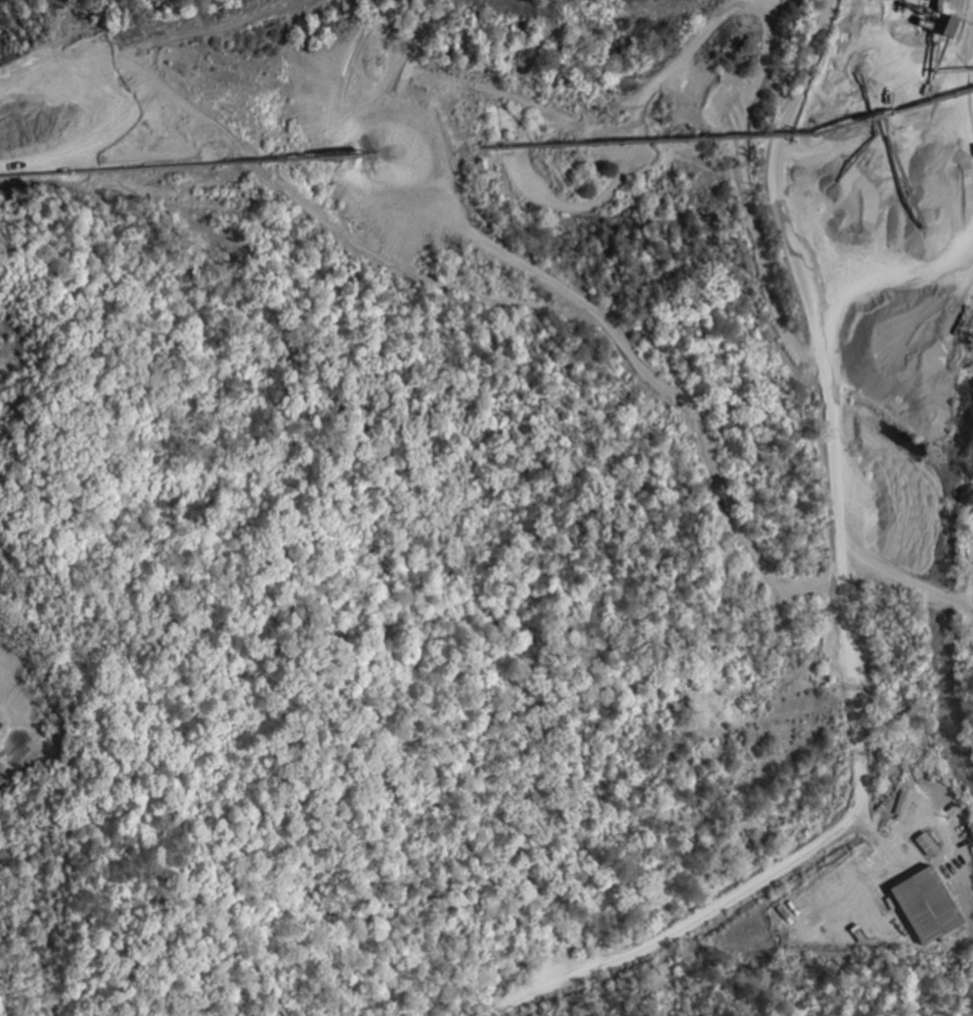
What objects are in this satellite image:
road: (965, 178)
road: (797, 258)
road: (528, 305)
road: (900, 577)
road: (810, 854)
building: (928, 908)

